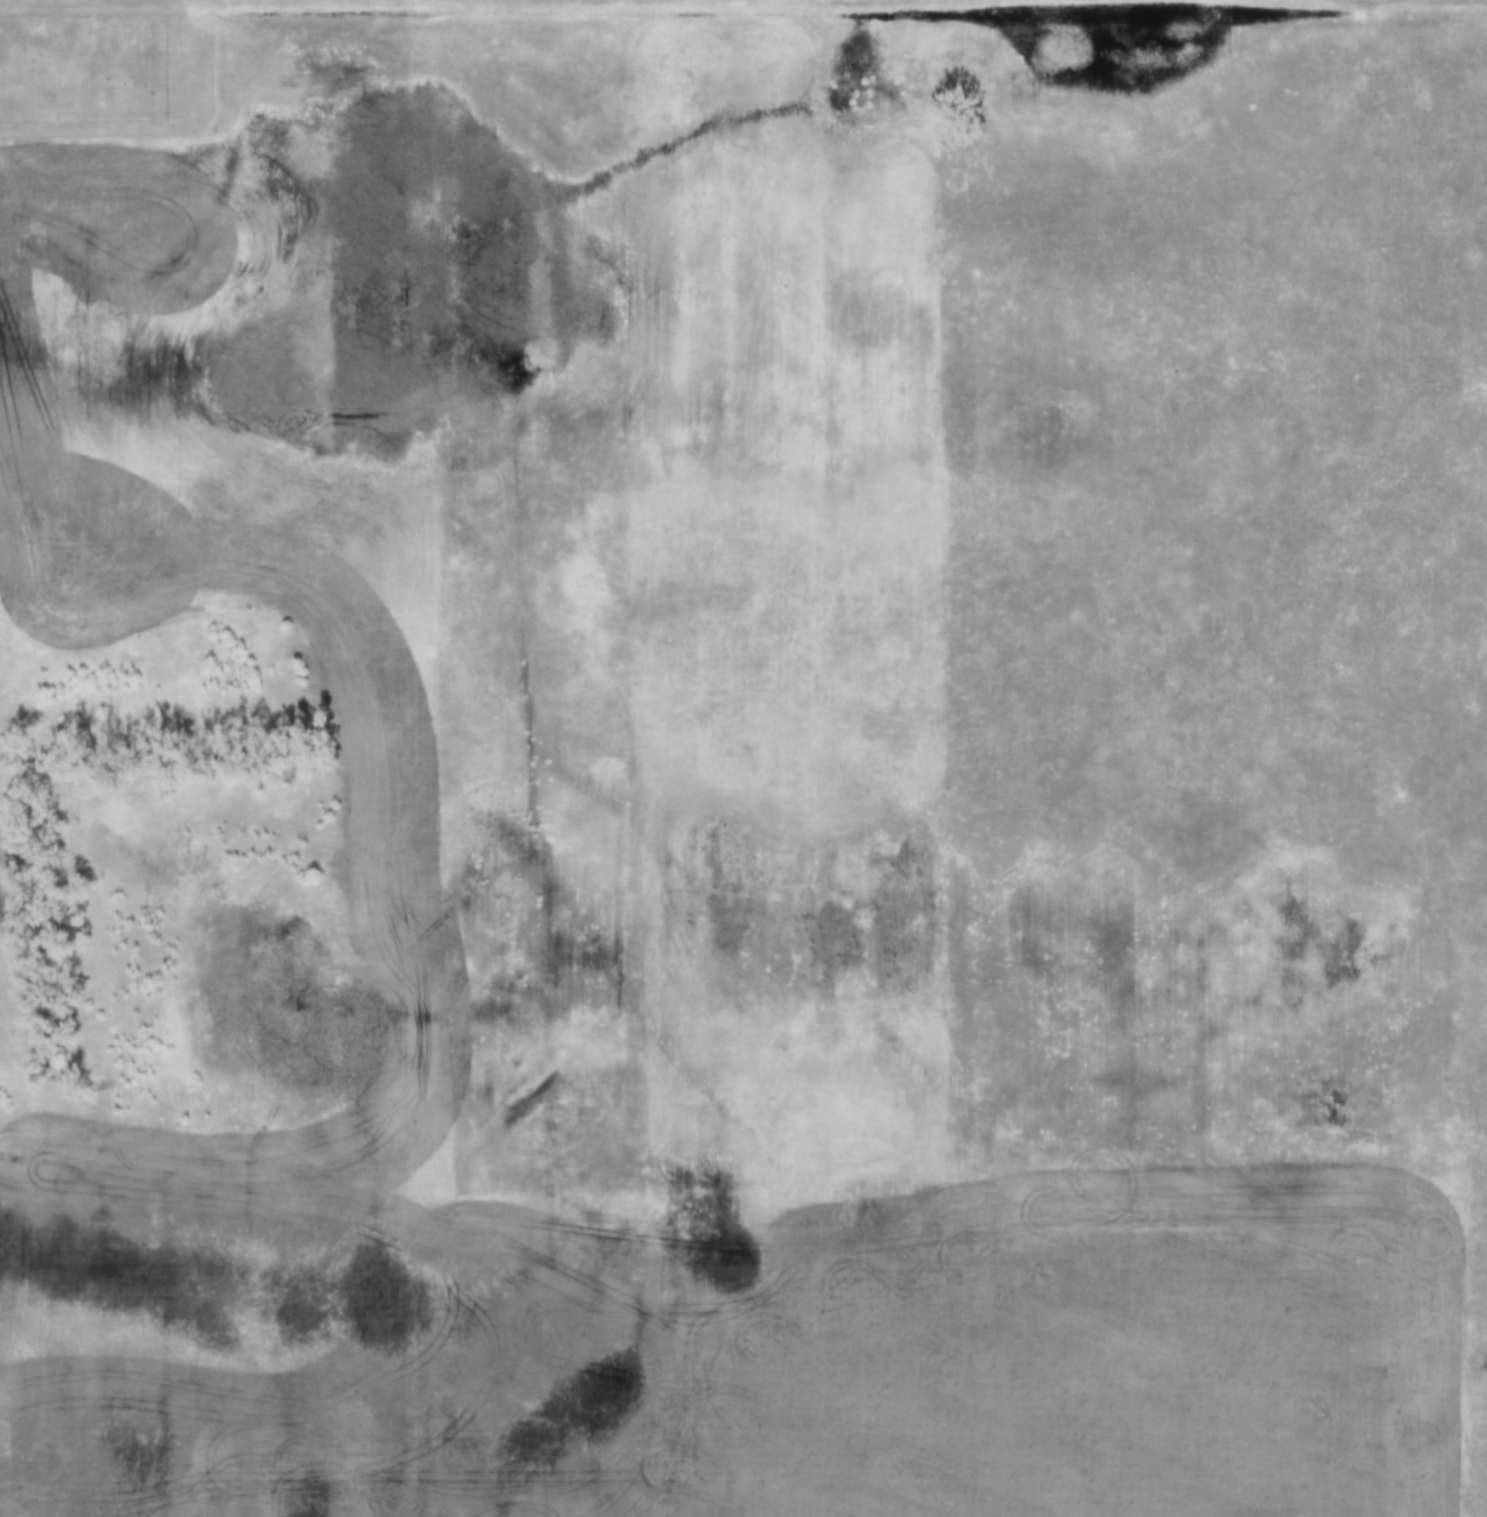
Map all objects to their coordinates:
park: (84, 69)

